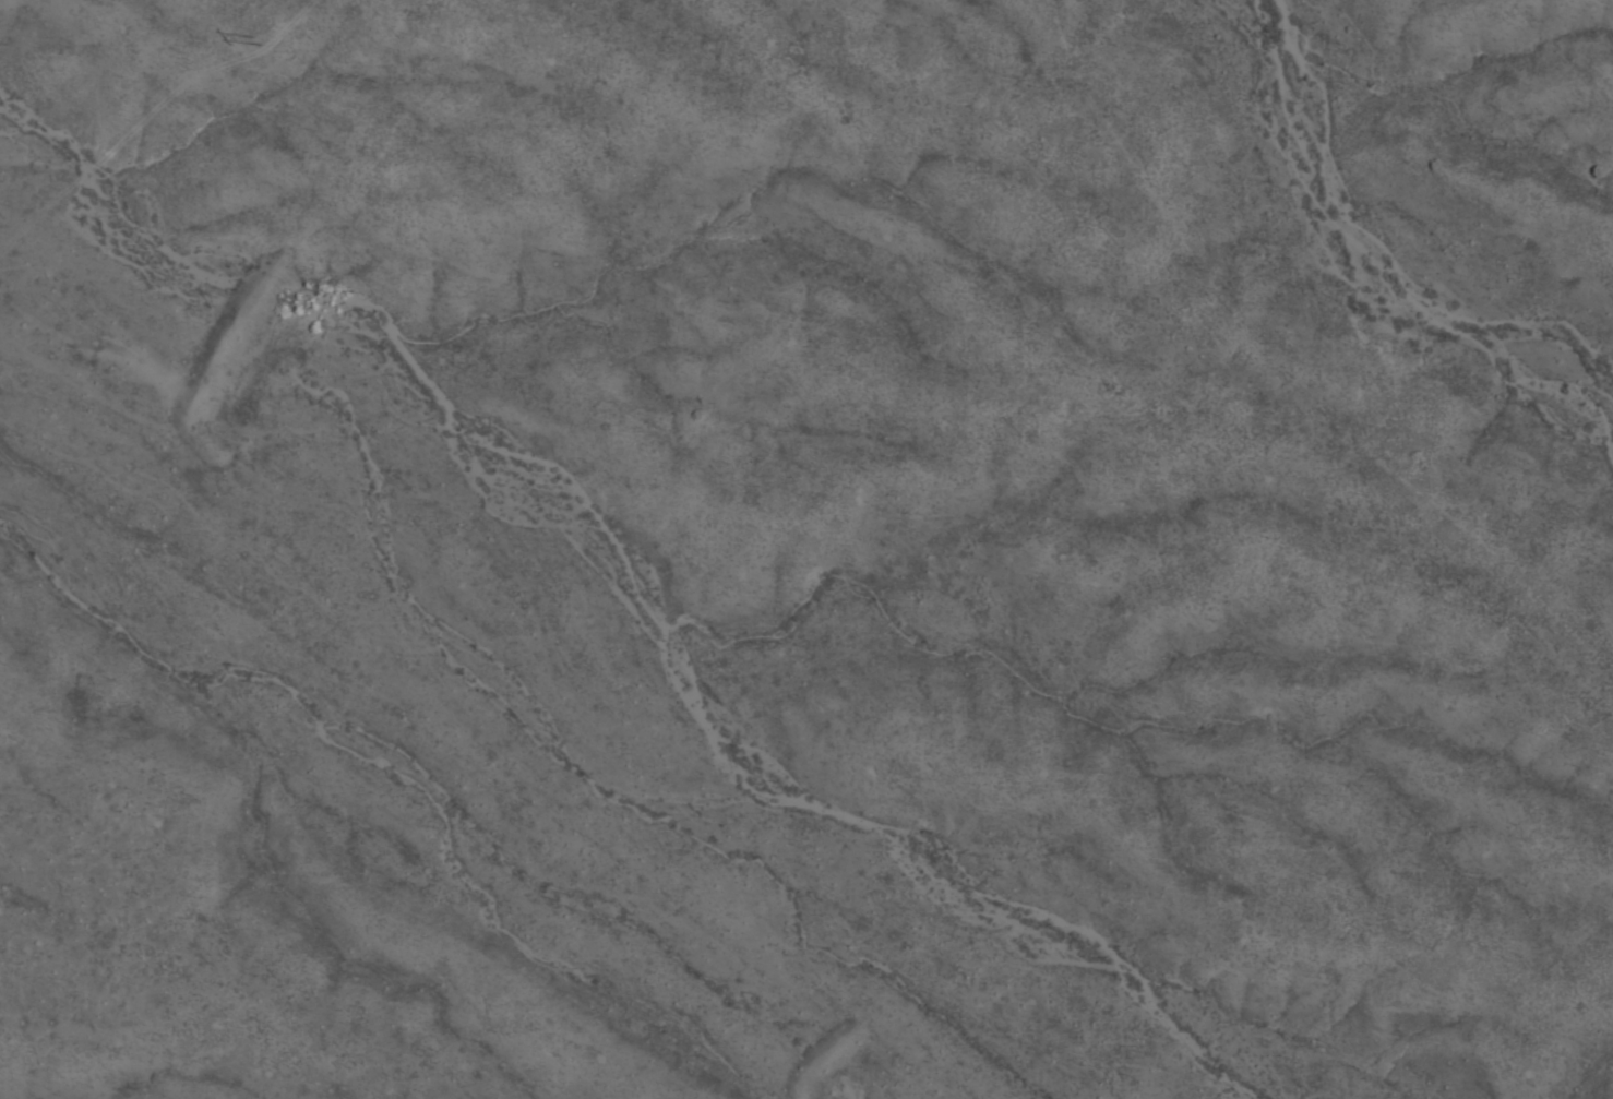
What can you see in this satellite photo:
power tower: (258, 41)

